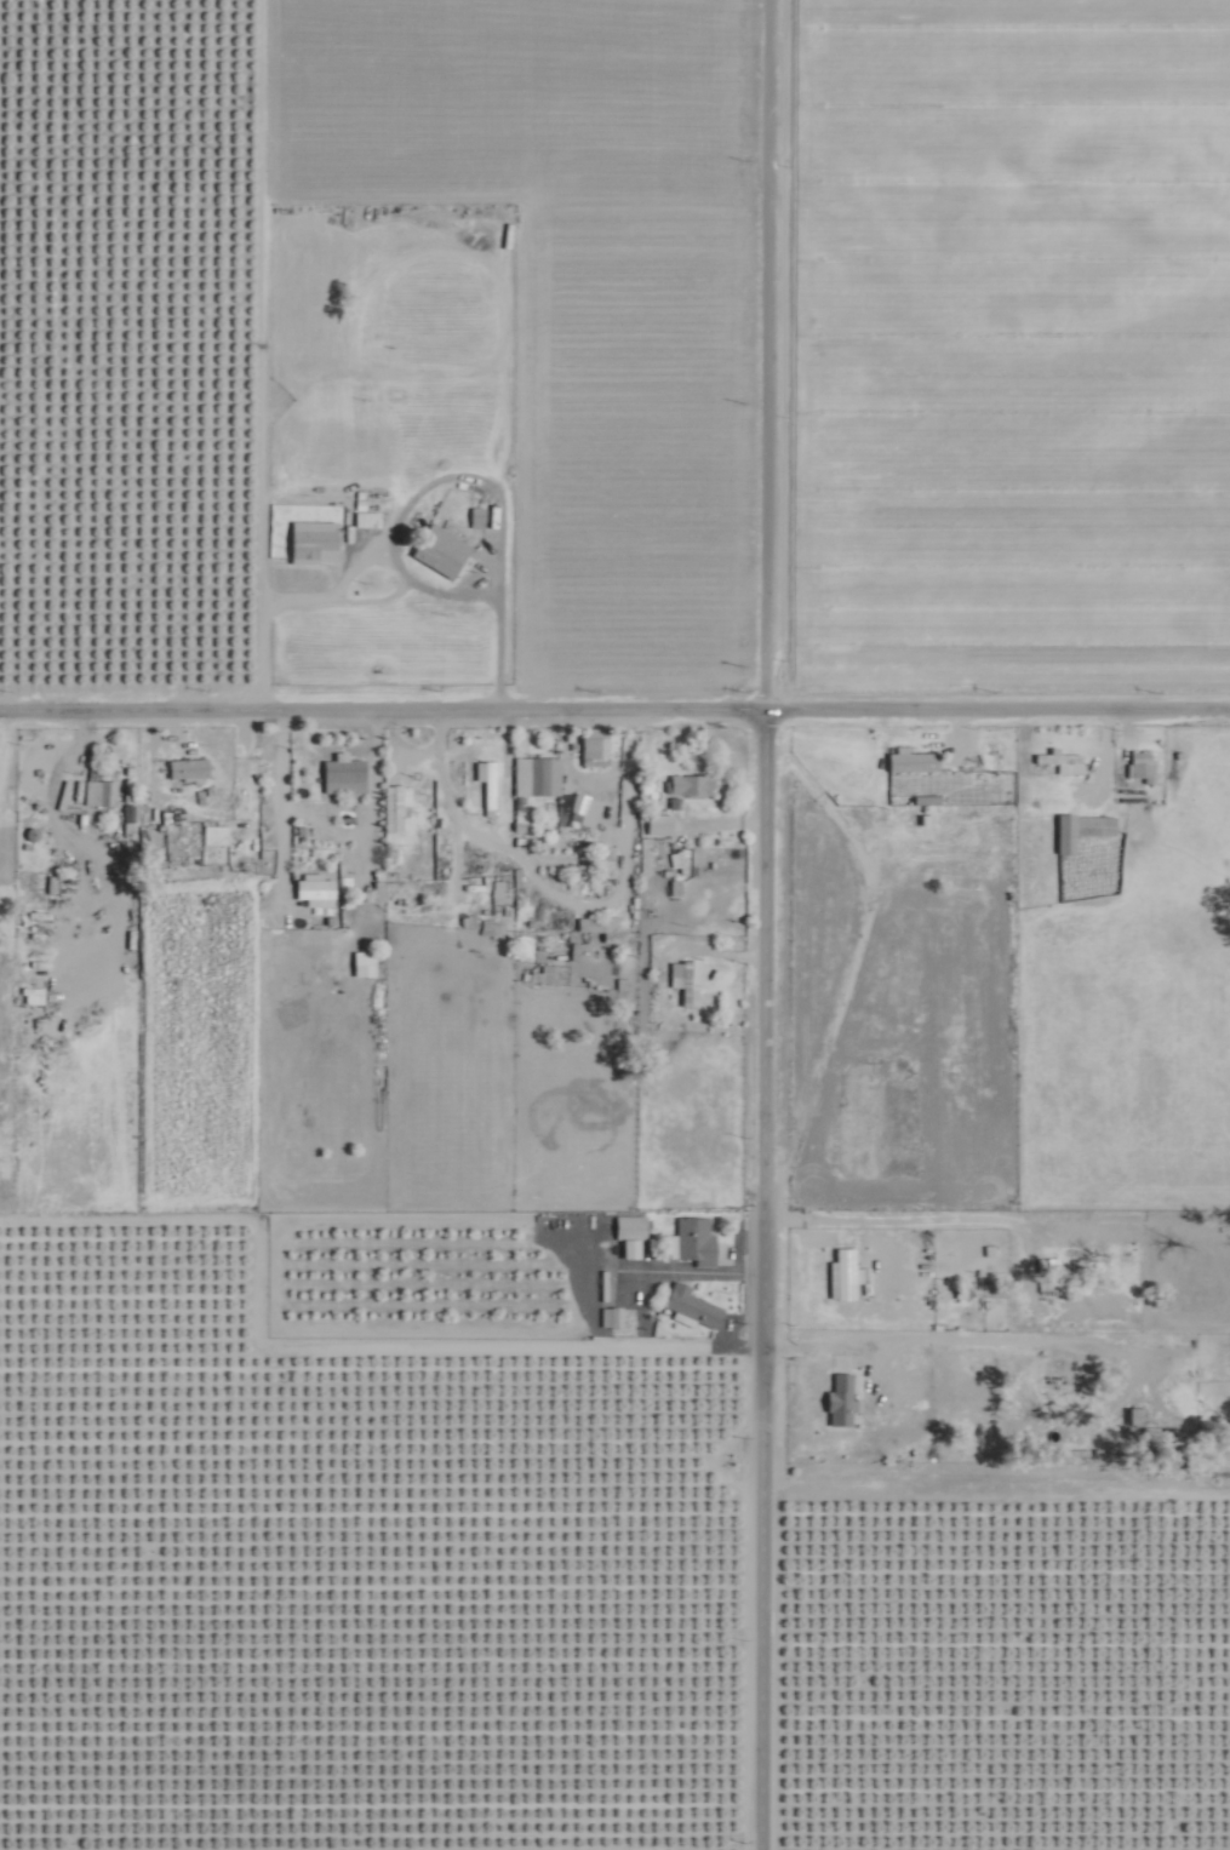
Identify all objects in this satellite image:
crop: (124, 331)
crop: (1034, 342)
road: (772, 348)
road: (471, 472)
building: (480, 515)
building: (316, 538)
building: (444, 549)
road: (364, 557)
road: (391, 592)
road: (614, 697)
road: (1105, 744)
building: (1059, 758)
building: (189, 767)
building: (347, 773)
building: (538, 774)
building: (491, 779)
building: (692, 783)
building: (97, 791)
building: (397, 804)
building: (588, 807)
building: (660, 823)
building: (1083, 823)
building: (317, 889)
building: (366, 962)
building: (633, 1222)
building: (697, 1238)
road: (699, 1268)
road: (767, 1272)
building: (846, 1287)
building: (693, 1302)
building: (613, 1317)
building: (843, 1398)
crop: (532, 1591)

